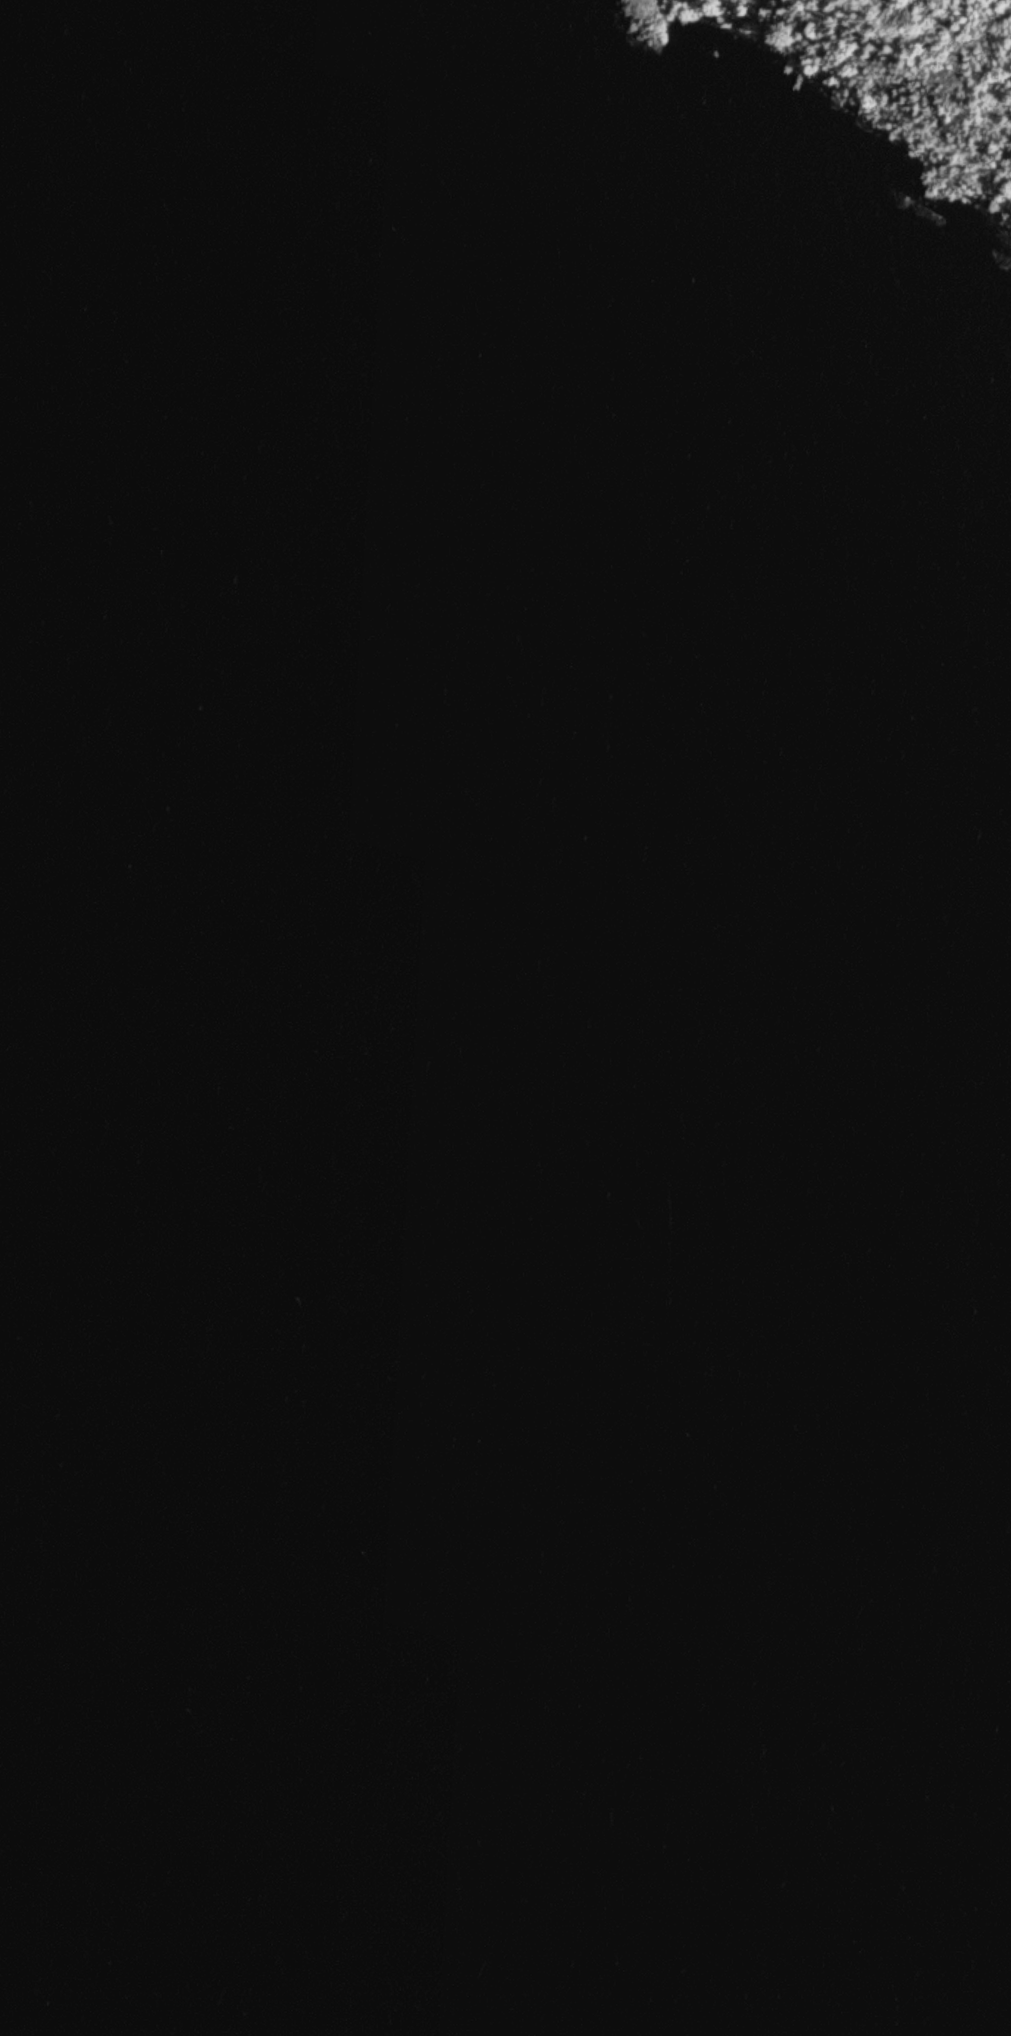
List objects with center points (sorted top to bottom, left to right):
road: (906, 93)

